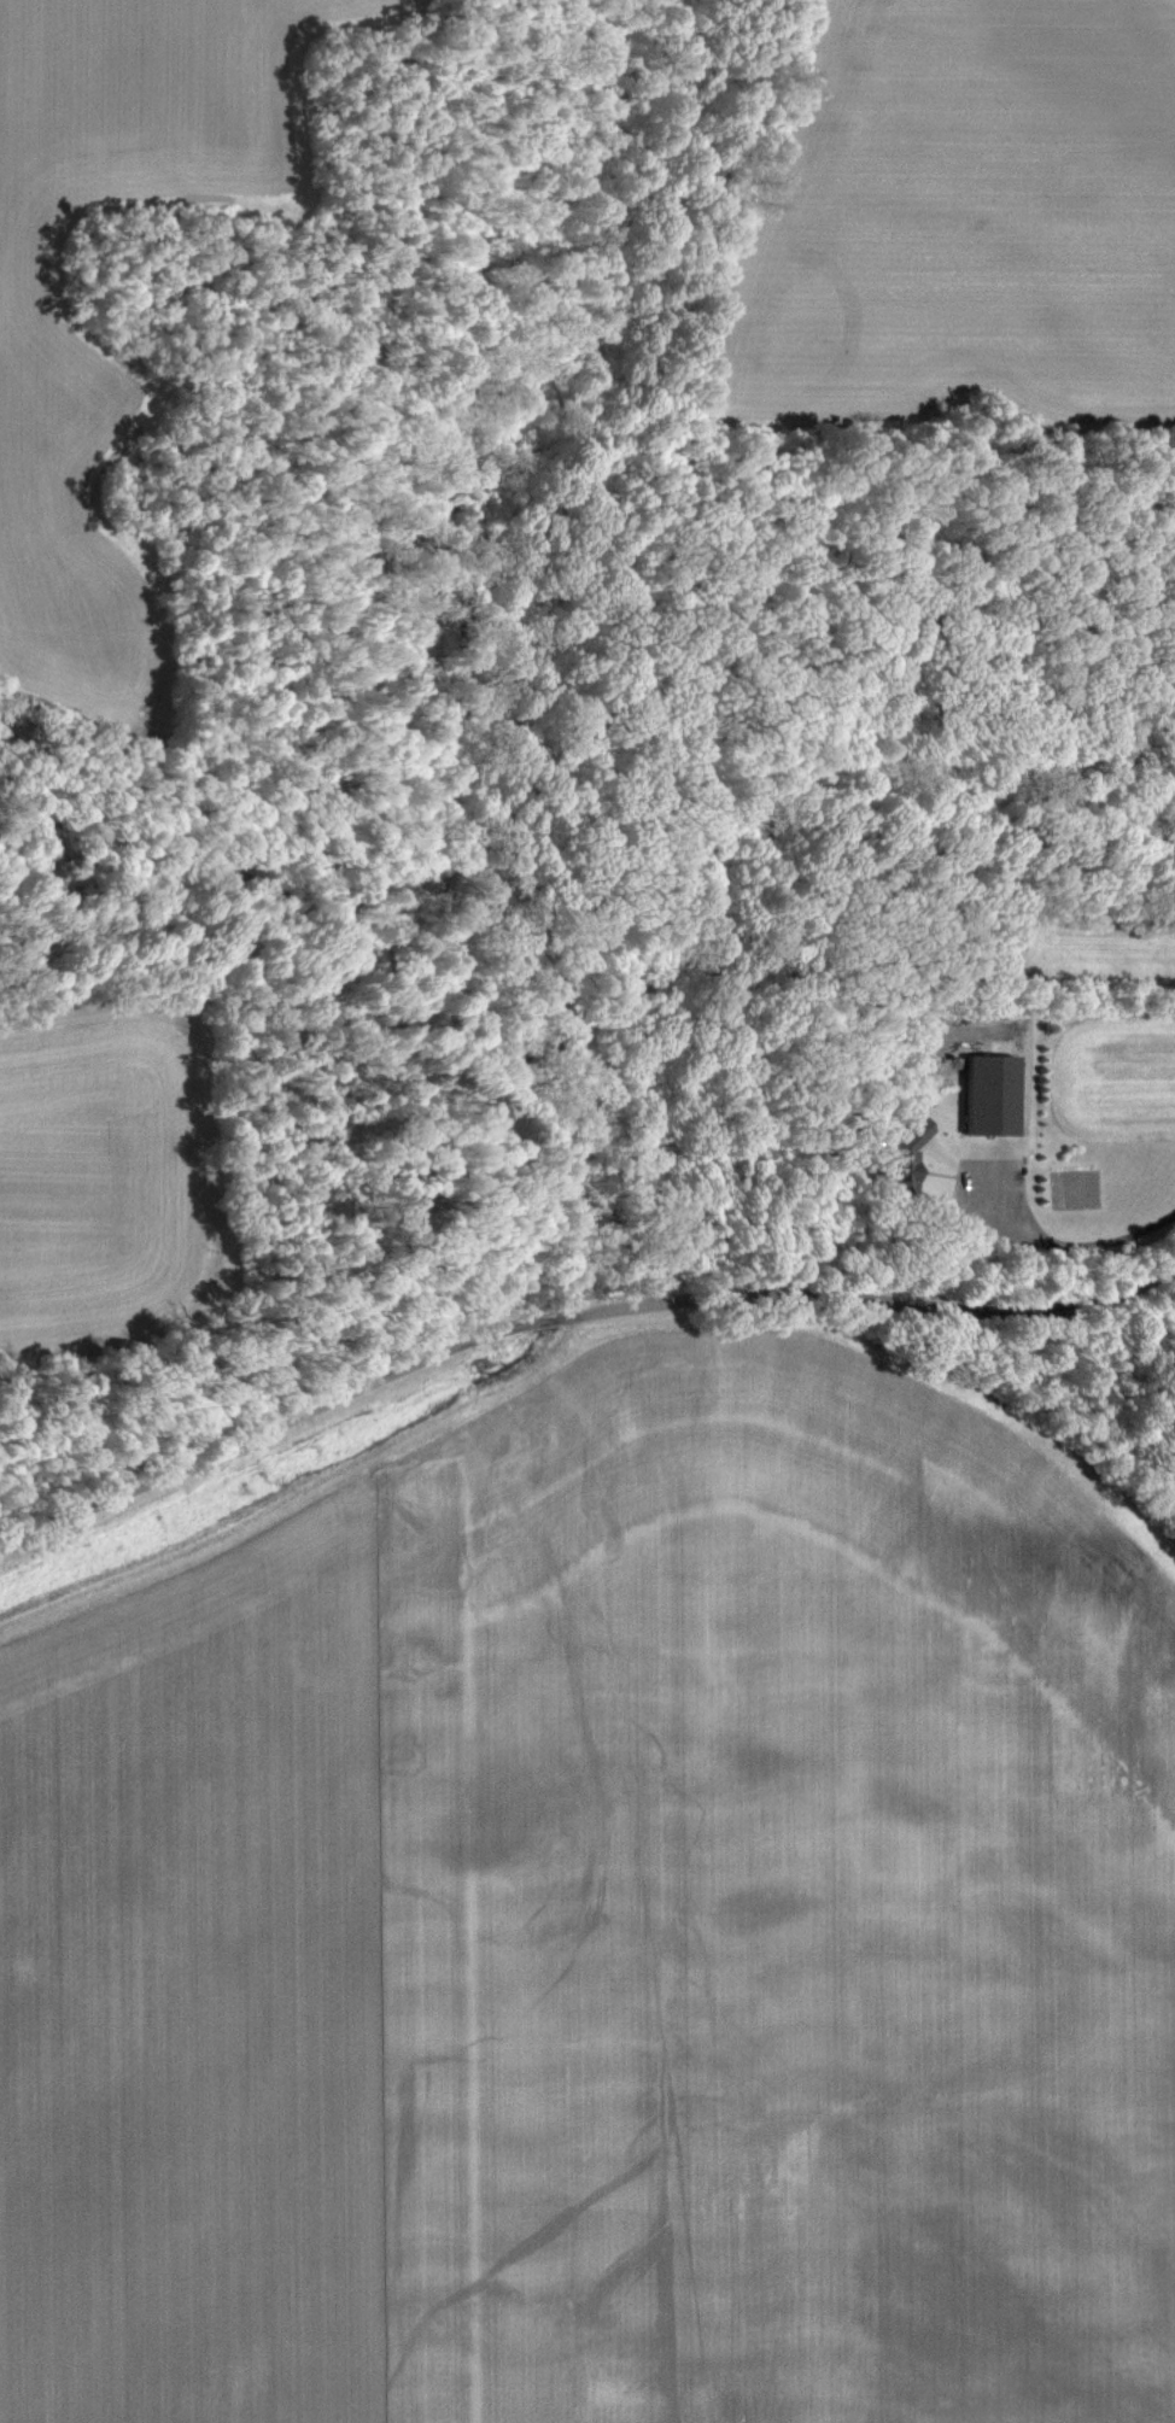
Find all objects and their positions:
building: (986, 1096)
building: (899, 1160)
road: (1071, 1248)
road: (571, 1327)

